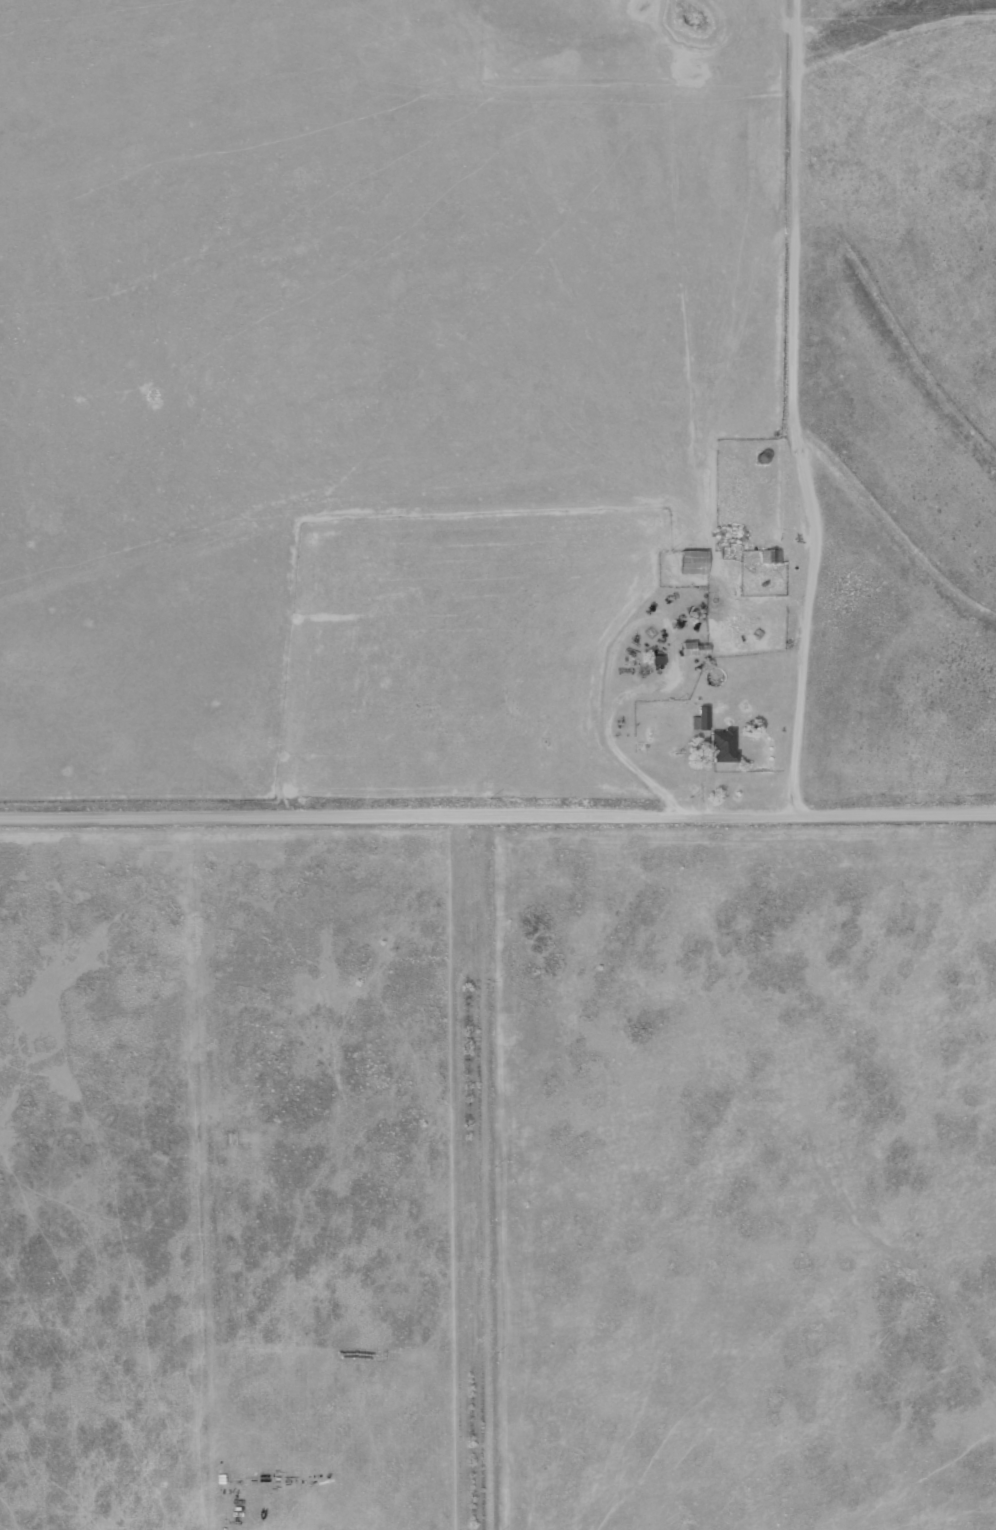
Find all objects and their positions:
road: (792, 409)
building: (765, 458)
building: (772, 556)
building: (695, 562)
building: (695, 648)
building: (659, 659)
building: (704, 717)
building: (725, 745)
road: (498, 814)
road: (500, 1172)

